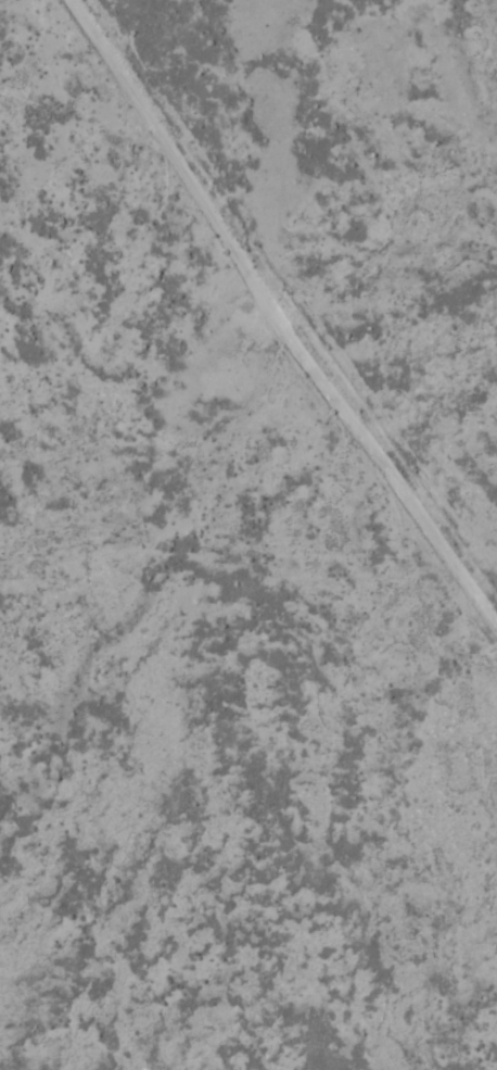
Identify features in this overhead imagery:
road: (270, 320)

